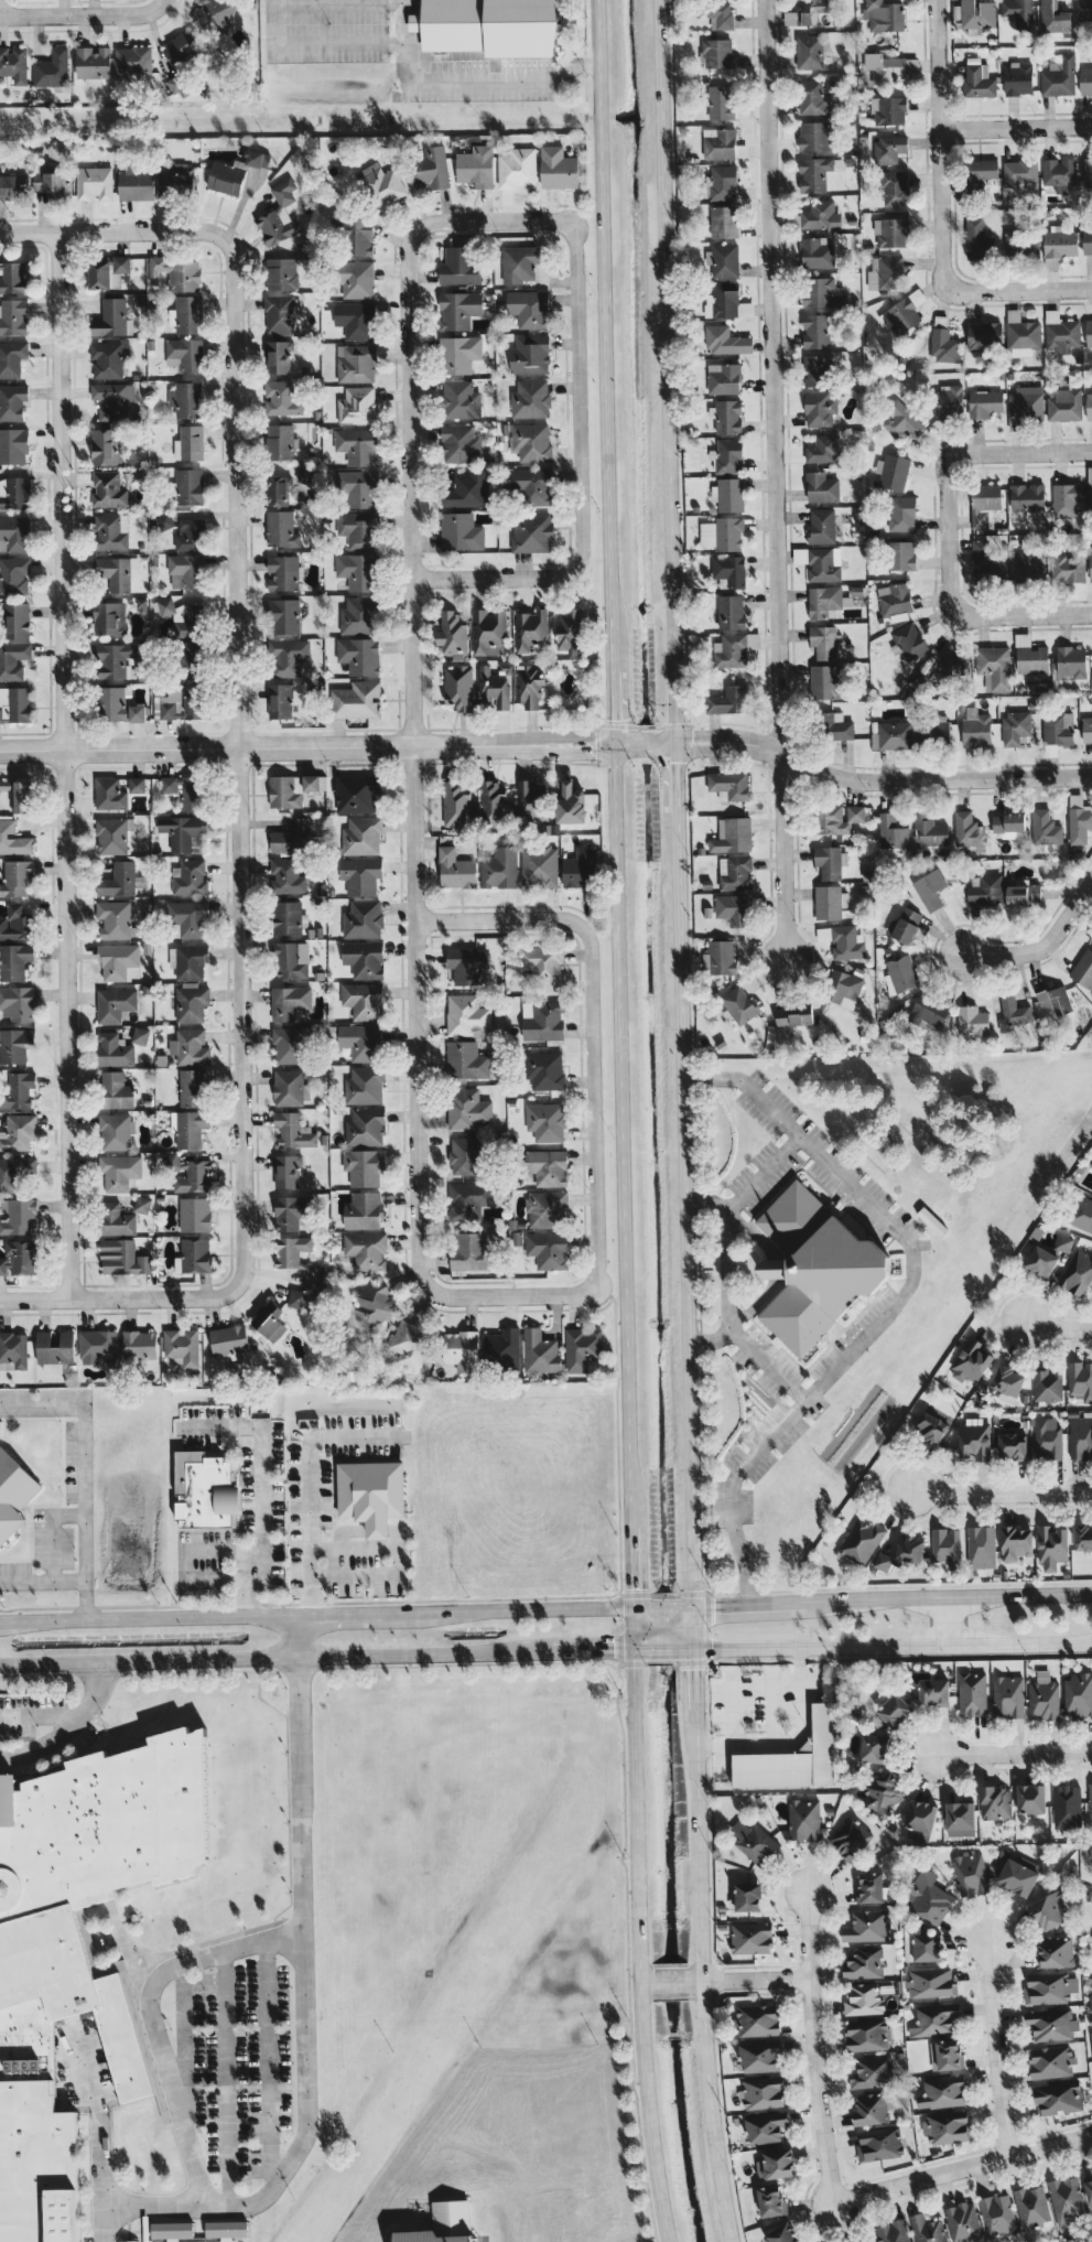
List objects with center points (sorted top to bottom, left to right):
road: (154, 2)
road: (337, 3)
building: (1084, 9)
road: (76, 12)
building: (807, 12)
building: (1018, 12)
building: (214, 13)
building: (977, 13)
building: (721, 15)
building: (884, 15)
building: (1053, 17)
road: (270, 20)
building: (488, 26)
road: (337, 42)
building: (182, 46)
building: (809, 51)
building: (717, 53)
building: (134, 60)
building: (13, 64)
building: (91, 64)
building: (52, 68)
building: (884, 68)
building: (1058, 77)
building: (1018, 78)
road: (465, 79)
building: (979, 80)
building: (1085, 80)
building: (813, 97)
building: (721, 101)
building: (888, 110)
road: (1017, 128)
building: (815, 136)
building: (720, 143)
road: (942, 144)
building: (888, 149)
building: (257, 158)
building: (476, 165)
building: (430, 168)
building: (518, 168)
building: (558, 169)
building: (983, 169)
building: (815, 173)
building: (1019, 173)
building: (1059, 173)
building: (1088, 173)
building: (226, 177)
building: (177, 179)
building: (52, 182)
building: (723, 182)
building: (94, 183)
building: (136, 184)
building: (381, 184)
building: (12, 185)
building: (895, 188)
building: (279, 215)
building: (819, 215)
road: (490, 220)
building: (723, 222)
road: (109, 231)
building: (891, 231)
building: (359, 238)
building: (977, 239)
building: (1060, 241)
building: (1021, 245)
building: (307, 250)
building: (817, 252)
building: (723, 259)
building: (520, 262)
building: (458, 267)
building: (107, 271)
building: (886, 271)
building: (176, 272)
building: (282, 273)
building: (12, 277)
building: (357, 279)
building: (818, 291)
road: (1019, 291)
building: (723, 300)
building: (529, 308)
building: (458, 309)
building: (904, 313)
building: (186, 314)
building: (279, 314)
building: (13, 317)
building: (112, 317)
building: (356, 320)
building: (817, 331)
building: (1089, 332)
building: (1060, 333)
building: (983, 335)
building: (1021, 335)
building: (725, 341)
building: (184, 354)
building: (458, 354)
building: (529, 354)
building: (278, 356)
building: (12, 357)
building: (108, 359)
building: (355, 363)
road: (668, 367)
building: (814, 369)
building: (724, 378)
road: (577, 394)
building: (281, 398)
building: (530, 398)
building: (112, 399)
building: (185, 399)
building: (459, 399)
building: (12, 401)
building: (948, 401)
building: (984, 402)
building: (1064, 403)
building: (1025, 405)
building: (357, 406)
building: (1089, 406)
building: (820, 408)
building: (728, 417)
building: (905, 423)
building: (280, 441)
building: (530, 441)
building: (188, 443)
building: (459, 443)
building: (13, 445)
building: (357, 445)
building: (106, 446)
building: (824, 449)
road: (1021, 452)
building: (727, 455)
building: (893, 471)
building: (306, 475)
road: (778, 481)
building: (532, 485)
building: (188, 486)
building: (358, 487)
building: (821, 487)
building: (1090, 487)
building: (108, 489)
building: (466, 489)
building: (278, 491)
building: (728, 494)
building: (1027, 497)
building: (1066, 498)
building: (984, 503)
building: (901, 513)
building: (164, 520)
building: (822, 526)
building: (357, 528)
building: (281, 529)
building: (111, 531)
building: (461, 531)
building: (531, 532)
building: (723, 532)
building: (14, 533)
building: (190, 535)
road: (949, 537)
building: (901, 554)
building: (987, 562)
building: (1027, 564)
building: (1068, 568)
building: (116, 571)
building: (185, 571)
building: (358, 571)
building: (729, 571)
building: (283, 572)
building: (13, 574)
road: (495, 575)
building: (823, 601)
building: (731, 611)
building: (284, 615)
building: (358, 615)
road: (1026, 616)
building: (182, 617)
building: (109, 618)
building: (17, 619)
building: (531, 629)
building: (570, 630)
building: (489, 632)
building: (453, 635)
building: (908, 640)
building: (824, 642)
building: (731, 650)
building: (358, 655)
building: (289, 656)
building: (190, 658)
building: (1032, 658)
building: (112, 659)
building: (13, 660)
building: (1070, 661)
building: (953, 662)
building: (824, 681)
building: (495, 686)
building: (529, 686)
building: (457, 687)
building: (357, 699)
building: (728, 700)
building: (280, 701)
building: (14, 704)
building: (180, 704)
building: (117, 707)
traffic signals: (610, 718)
building: (836, 725)
building: (975, 727)
building: (1015, 727)
building: (1086, 730)
traffic signals: (692, 734)
road: (731, 734)
road: (591, 736)
road: (677, 743)
road: (252, 744)
road: (612, 750)
road: (728, 751)
road: (591, 752)
traffic signals: (592, 752)
road: (409, 759)
road: (236, 761)
traffic signals: (677, 763)
road: (64, 765)
road: (922, 779)
road: (677, 780)
building: (314, 783)
building: (136, 784)
building: (728, 785)
building: (184, 790)
building: (285, 790)
building: (357, 793)
building: (109, 794)
building: (17, 795)
building: (531, 801)
building: (493, 802)
building: (570, 802)
building: (456, 804)
building: (837, 818)
building: (1079, 819)
building: (1009, 824)
building: (1045, 828)
building: (967, 829)
building: (181, 830)
building: (929, 830)
building: (891, 831)
building: (732, 834)
building: (111, 836)
building: (361, 836)
building: (292, 837)
building: (13, 839)
building: (830, 861)
building: (539, 866)
building: (499, 867)
building: (580, 867)
building: (455, 869)
building: (735, 872)
building: (360, 874)
building: (286, 875)
building: (17, 877)
building: (190, 877)
building: (118, 880)
building: (930, 888)
building: (985, 891)
building: (1023, 894)
building: (830, 902)
building: (733, 908)
building: (288, 917)
building: (113, 918)
building: (187, 918)
road: (500, 918)
building: (363, 919)
building: (15, 923)
building: (906, 925)
building: (842, 940)
building: (1091, 941)
road: (1040, 948)
building: (364, 958)
building: (14, 960)
building: (291, 960)
building: (119, 961)
building: (188, 961)
building: (542, 962)
building: (467, 964)
building: (1083, 969)
building: (843, 988)
building: (364, 1000)
building: (1056, 1000)
building: (289, 1001)
building: (17, 1002)
building: (113, 1003)
building: (191, 1003)
building: (739, 1004)
building: (928, 1012)
building: (1014, 1012)
building: (466, 1014)
building: (793, 1014)
building: (542, 1020)
building: (972, 1021)
building: (139, 1035)
building: (361, 1041)
building: (14, 1045)
building: (288, 1045)
building: (190, 1046)
building: (113, 1050)
building: (465, 1059)
building: (544, 1069)
building: (365, 1085)
building: (191, 1087)
building: (290, 1088)
building: (18, 1090)
building: (116, 1090)
road: (593, 1107)
building: (467, 1108)
building: (545, 1121)
building: (365, 1127)
building: (188, 1128)
building: (293, 1130)
building: (115, 1131)
building: (18, 1132)
building: (464, 1155)
building: (364, 1166)
building: (547, 1166)
building: (1091, 1168)
building: (14, 1171)
building: (119, 1171)
building: (286, 1171)
building: (186, 1172)
road: (760, 1174)
building: (468, 1199)
building: (141, 1205)
road: (686, 1207)
building: (547, 1208)
building: (363, 1210)
building: (290, 1211)
building: (194, 1214)
building: (1081, 1214)
building: (19, 1217)
building: (116, 1219)
building: (931, 1220)
building: (1062, 1243)
building: (548, 1249)
building: (366, 1250)
building: (469, 1252)
building: (193, 1255)
building: (296, 1257)
building: (18, 1258)
building: (122, 1258)
building: (1041, 1261)
building: (817, 1266)
road: (725, 1268)
road: (775, 1270)
building: (1077, 1272)
road: (509, 1294)
road: (120, 1297)
building: (295, 1298)
building: (374, 1304)
road: (893, 1305)
building: (269, 1322)
road: (1057, 1326)
building: (228, 1339)
building: (410, 1343)
building: (139, 1344)
building: (96, 1345)
building: (182, 1346)
building: (501, 1347)
building: (582, 1347)
building: (13, 1350)
building: (54, 1350)
building: (461, 1350)
building: (540, 1351)
building: (972, 1361)
road: (766, 1366)
building: (1080, 1380)
building: (1008, 1382)
building: (1047, 1384)
building: (931, 1429)
building: (1080, 1435)
road: (345, 1436)
building: (1047, 1438)
building: (974, 1440)
road: (615, 1441)
building: (1010, 1446)
road: (84, 1470)
road: (260, 1479)
building: (204, 1490)
road: (999, 1492)
building: (13, 1494)
building: (370, 1494)
road: (307, 1524)
road: (50, 1529)
road: (381, 1529)
building: (1083, 1538)
building: (861, 1542)
building: (947, 1544)
building: (1017, 1544)
road: (354, 1546)
building: (981, 1546)
building: (1051, 1546)
road: (218, 1550)
building: (902, 1552)
road: (634, 1573)
road: (354, 1575)
road: (209, 1577)
road: (43, 1580)
traffic signals: (635, 1587)
road: (956, 1594)
road: (728, 1602)
traffic signals: (713, 1603)
road: (508, 1607)
road: (339, 1612)
road: (148, 1616)
road: (949, 1619)
road: (2, 1620)
road: (296, 1635)
road: (893, 1645)
road: (663, 1647)
road: (593, 1648)
traffic signals: (614, 1648)
road: (275, 1657)
road: (693, 1659)
traffic signals: (694, 1669)
building: (933, 1692)
building: (972, 1693)
building: (1078, 1693)
building: (1007, 1696)
building: (1044, 1696)
building: (894, 1710)
road: (39, 1713)
road: (66, 1725)
road: (791, 1737)
building: (874, 1747)
road: (1014, 1753)
building: (792, 1758)
building: (880, 1790)
building: (1030, 1798)
building: (1090, 1801)
building: (995, 1802)
building: (1066, 1807)
building: (960, 1819)
building: (803, 1820)
building: (852, 1839)
building: (754, 1842)
building: (970, 1873)
building: (1018, 1875)
building: (873, 1887)
building: (748, 1896)
building: (928, 1897)
building: (1050, 1909)
building: (80, 1918)
building: (867, 1926)
building: (750, 1937)
road: (638, 1944)
building: (927, 1948)
building: (76, 1949)
road: (219, 1949)
building: (1056, 1952)
building: (864, 1962)
road: (703, 1980)
road: (746, 1981)
building: (931, 1982)
road: (647, 1983)
road: (670, 1983)
building: (1049, 1987)
building: (863, 1998)
building: (1090, 2003)
building: (133, 2006)
road: (304, 2015)
building: (934, 2018)
building: (757, 2019)
building: (1050, 2024)
building: (867, 2035)
building: (1091, 2036)
road: (182, 2048)
road: (813, 2048)
road: (996, 2050)
building: (945, 2055)
building: (759, 2056)
building: (1051, 2061)
road: (268, 2062)
building: (871, 2072)
road: (223, 2077)
road: (170, 2088)
building: (764, 2092)
building: (942, 2092)
building: (1058, 2098)
building: (871, 2109)
building: (765, 2127)
building: (947, 2127)
road: (100, 2134)
building: (879, 2145)
building: (776, 2164)
road: (961, 2168)
building: (1089, 2189)
building: (771, 2200)
building: (1067, 2200)
building: (1031, 2206)
building: (997, 2216)
building: (963, 2221)
building: (927, 2229)
building: (171, 2230)
building: (225, 2230)
building: (893, 2231)
building: (781, 2232)
building: (127, 2241)

